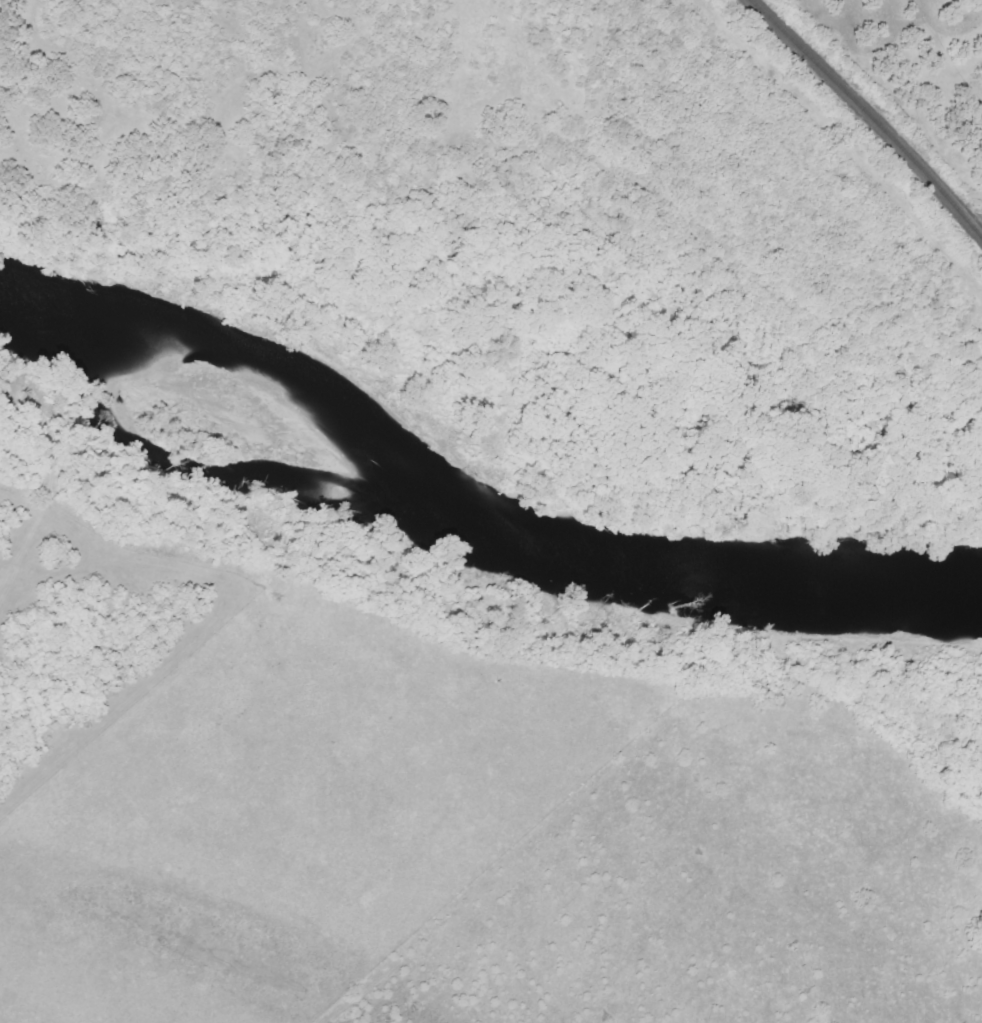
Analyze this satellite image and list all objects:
road: (322, 66)
railway: (868, 118)
river: (479, 436)
road: (406, 983)

